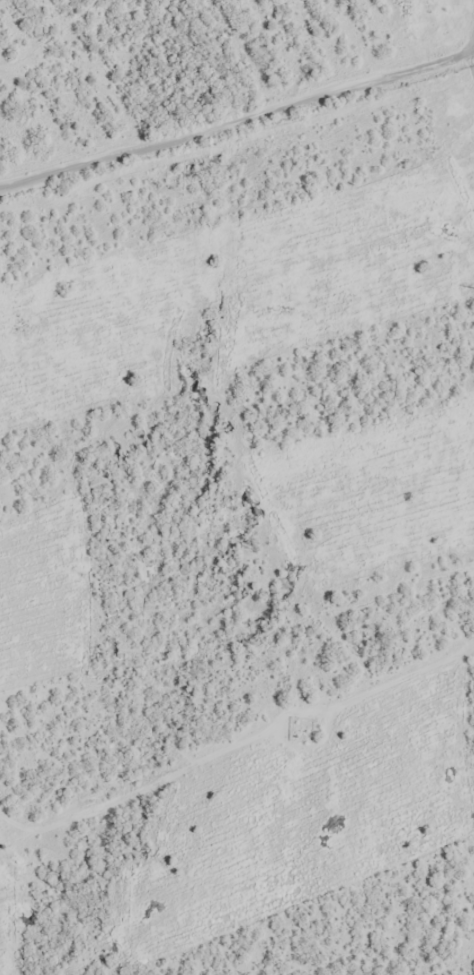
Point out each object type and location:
road: (237, 149)

